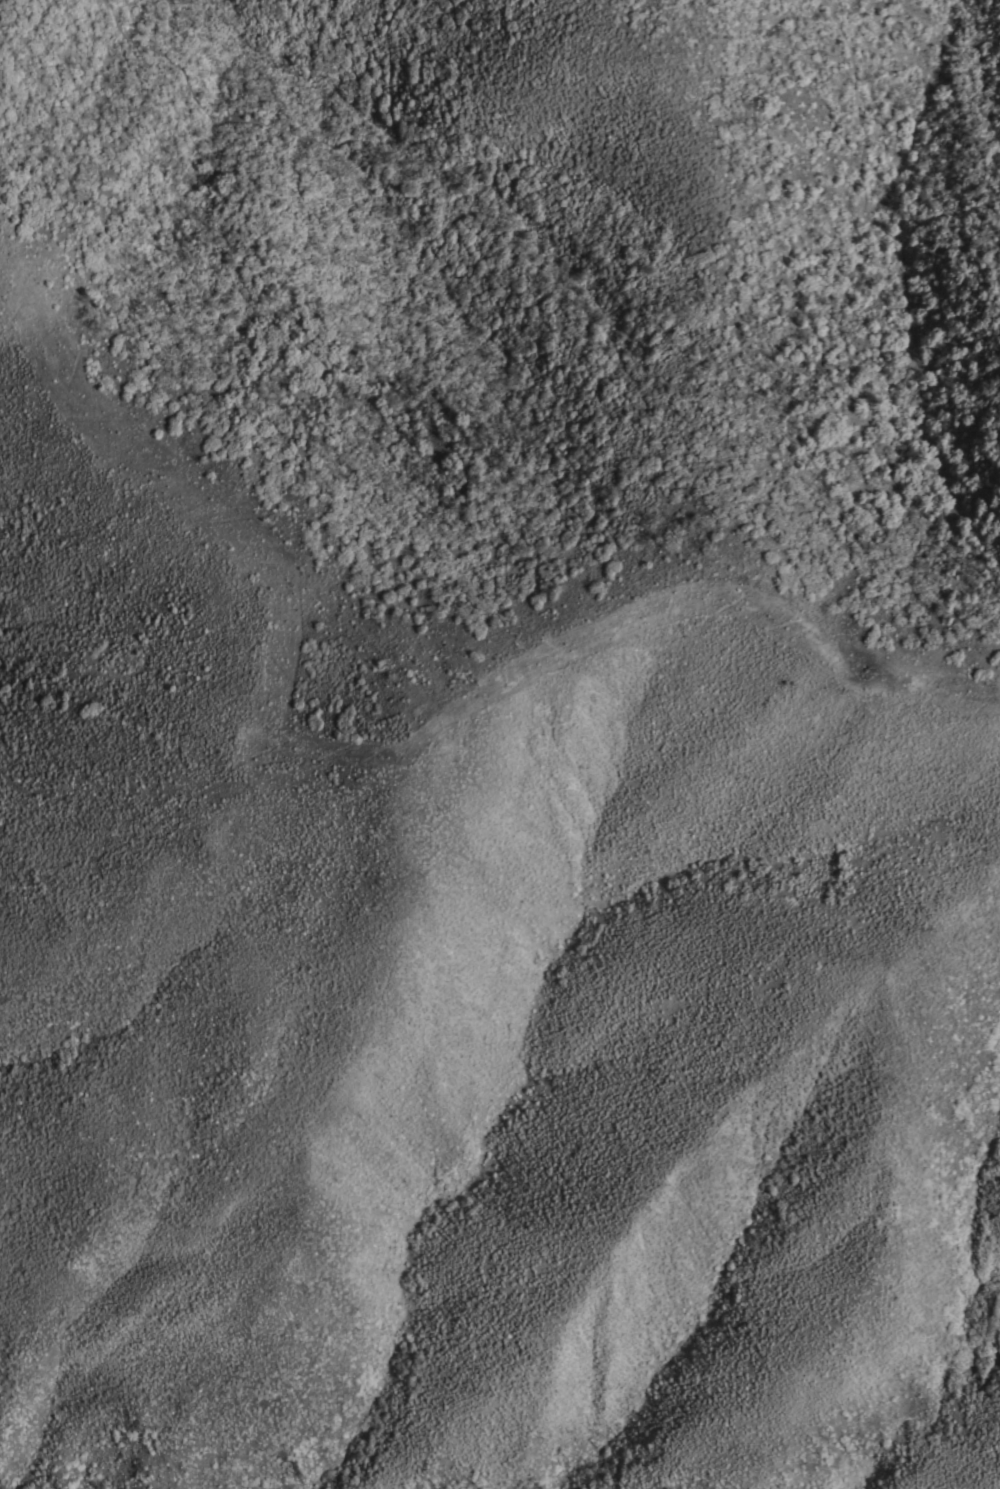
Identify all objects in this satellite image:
road: (293, 130)
road: (861, 178)

